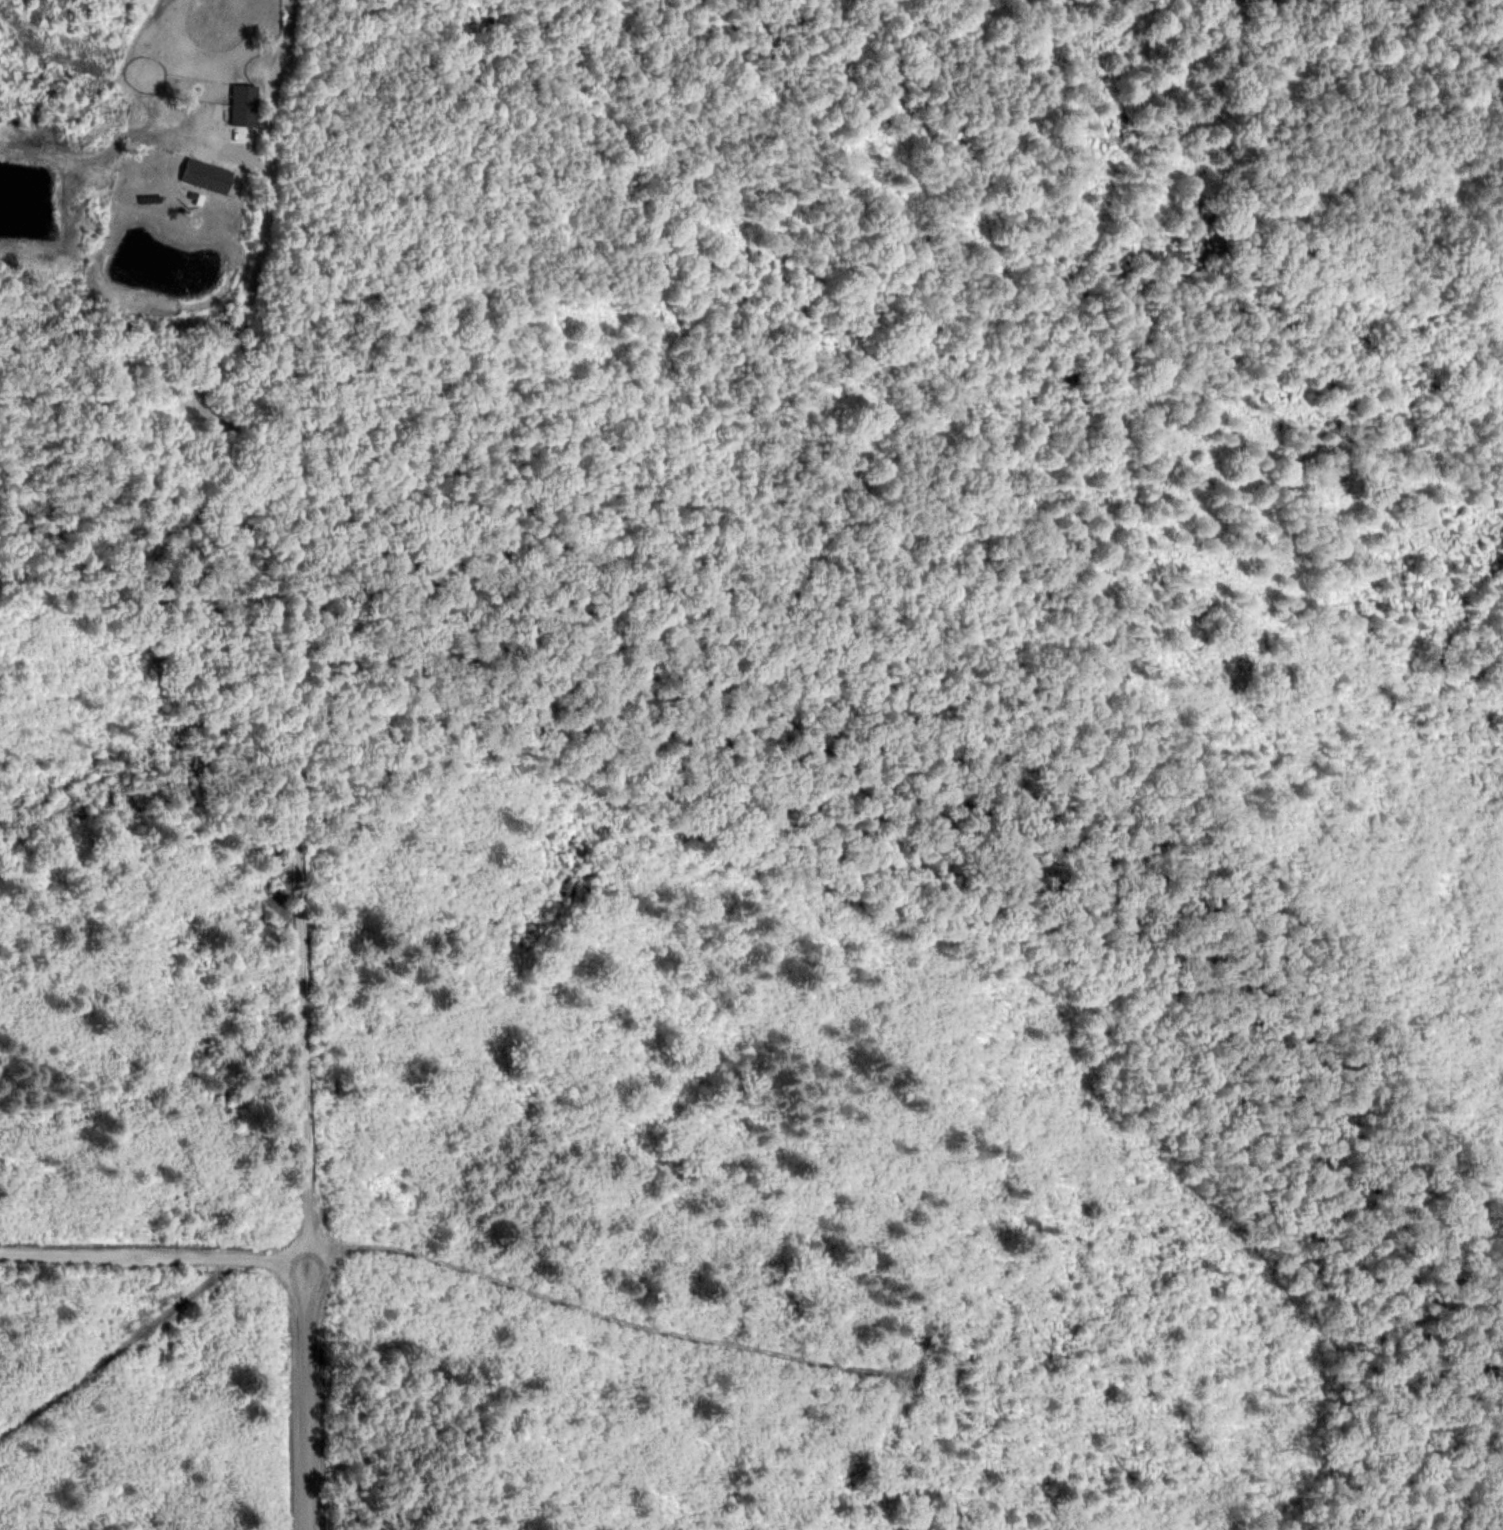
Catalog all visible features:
road: (156, 1255)
road: (310, 1398)

